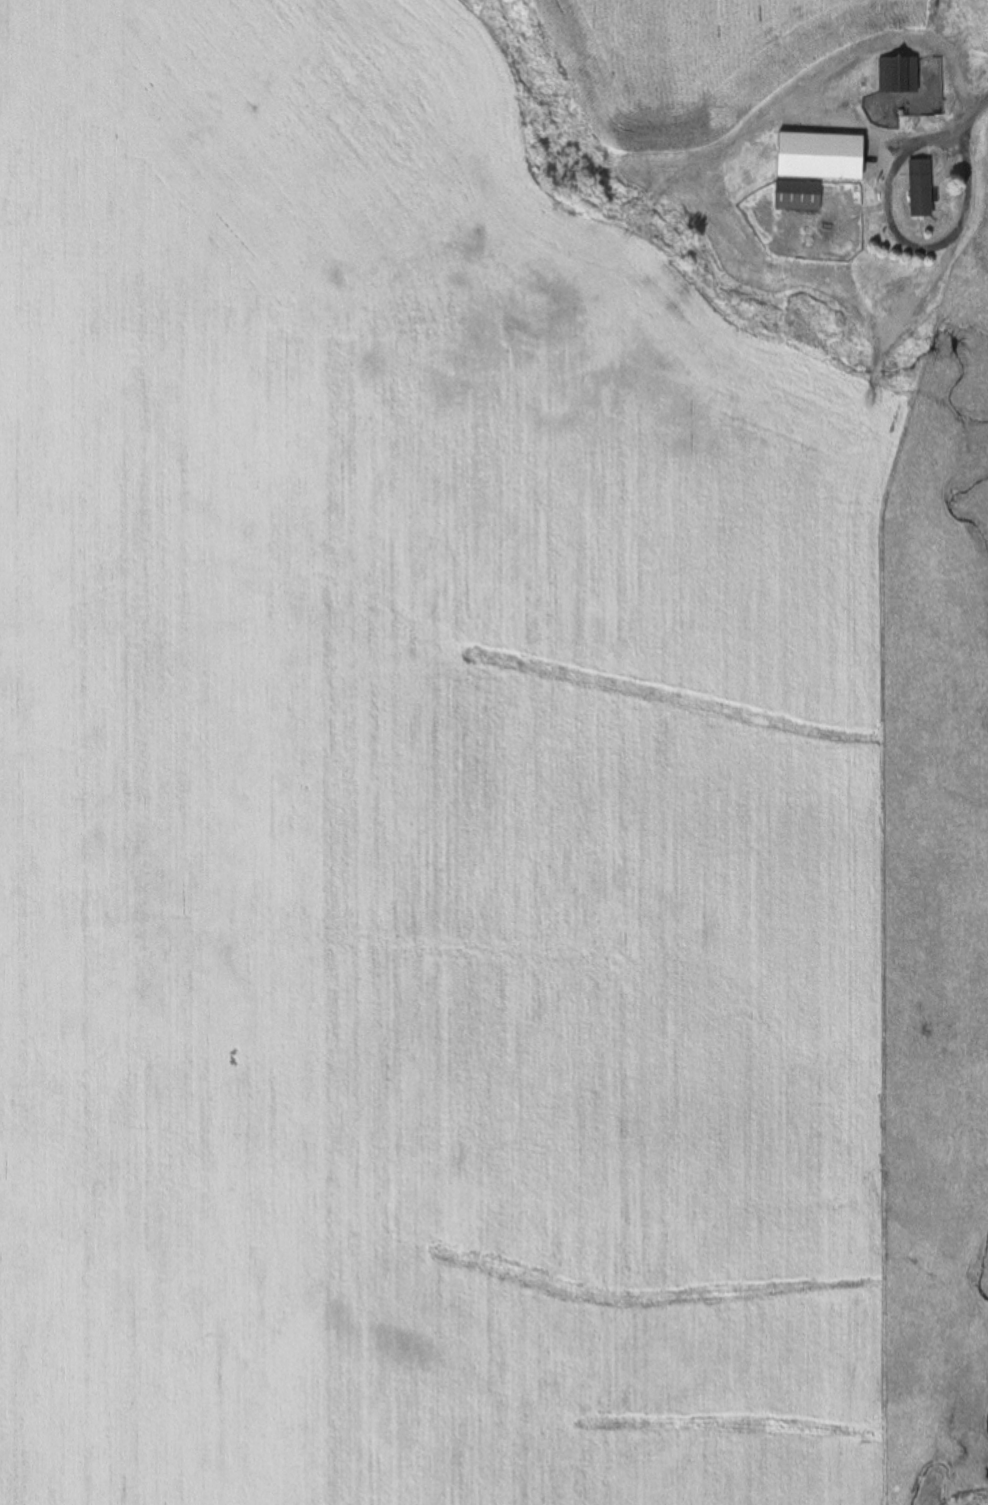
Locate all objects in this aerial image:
building: (909, 15)
building: (848, 21)
building: (900, 75)
building: (838, 104)
building: (725, 123)
road: (961, 128)
building: (822, 157)
building: (922, 189)
building: (799, 196)

